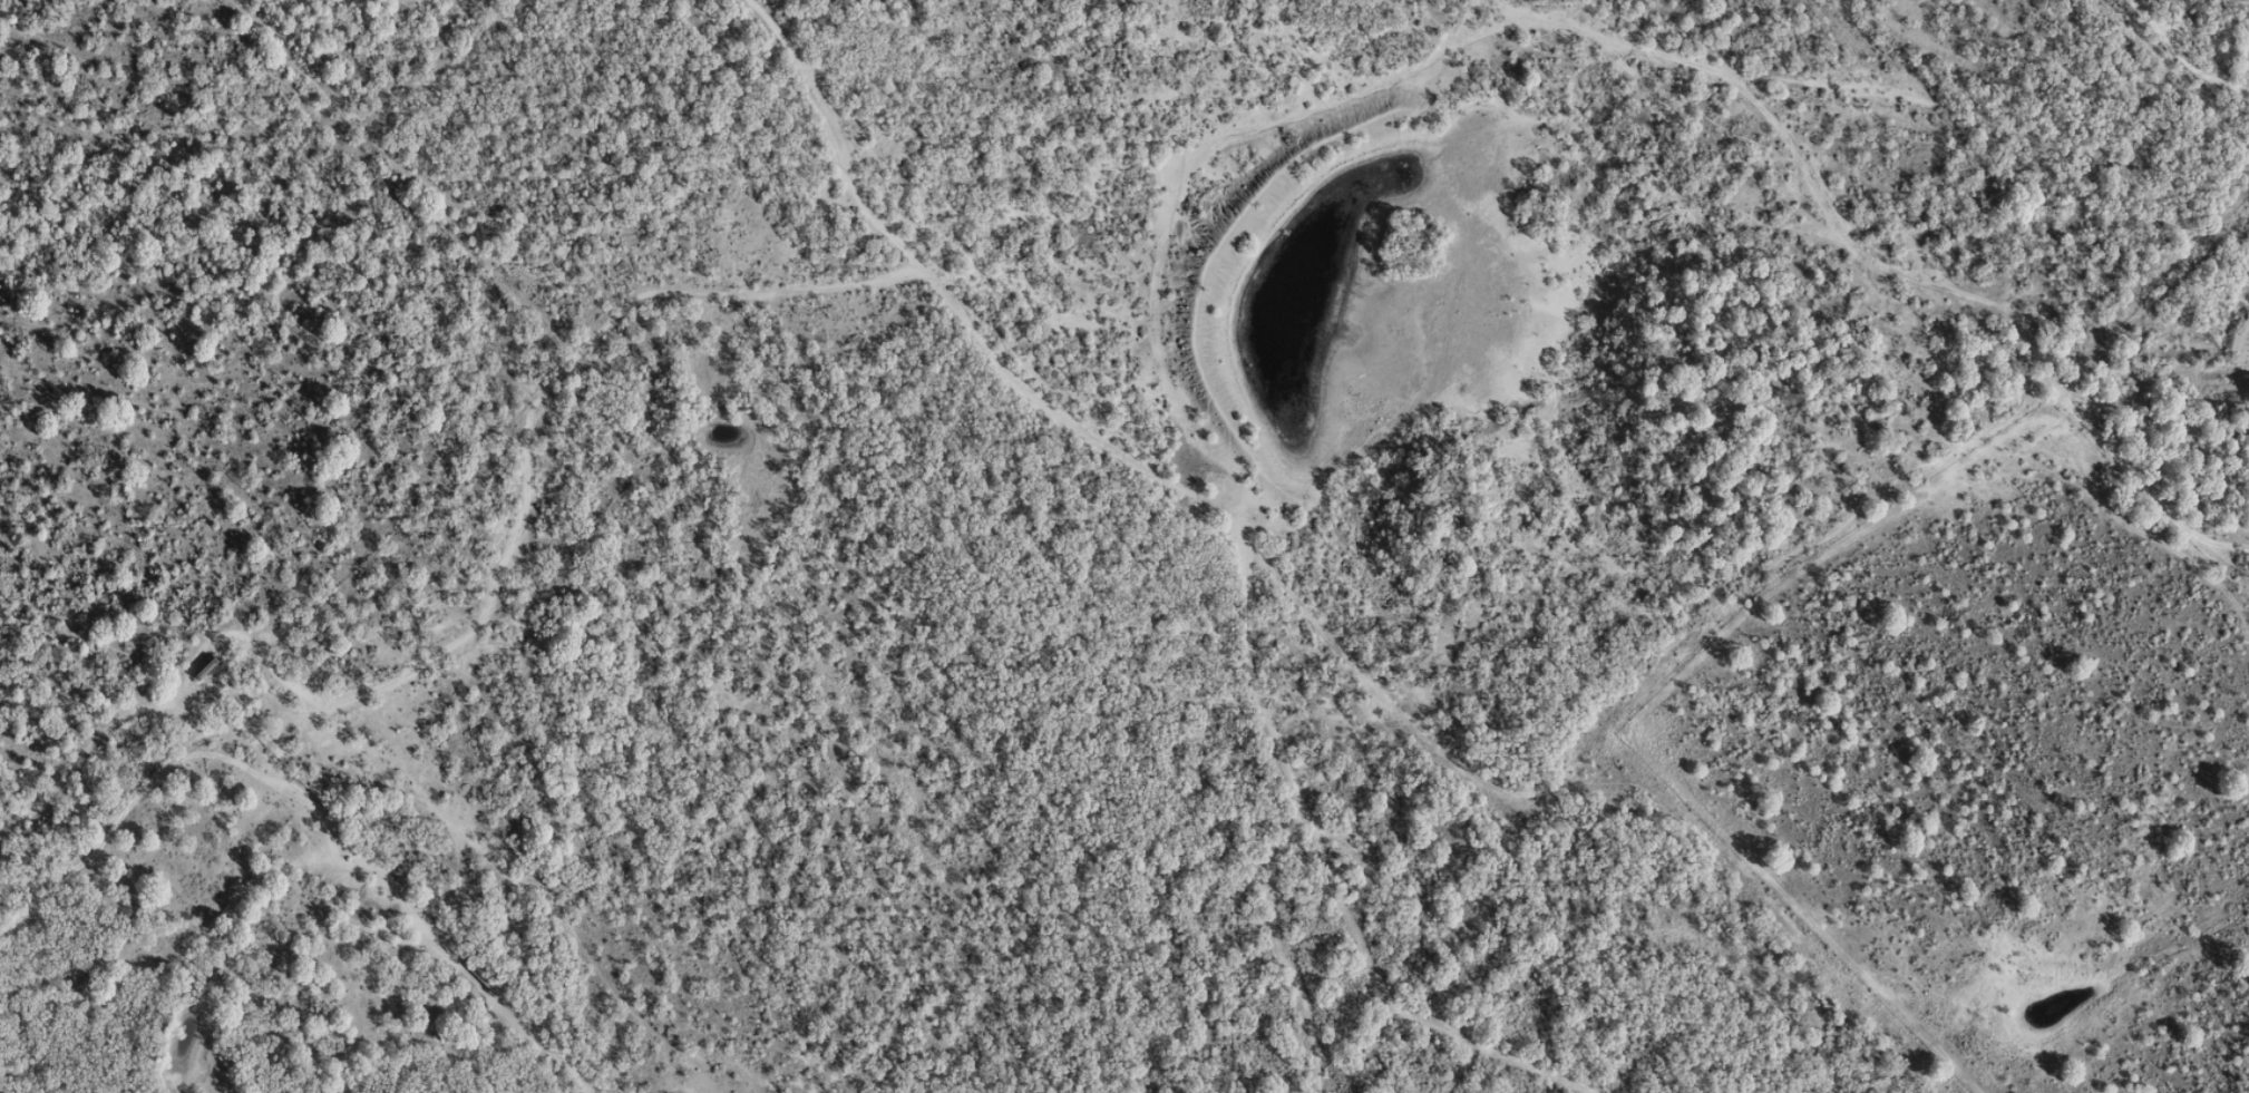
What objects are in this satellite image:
road: (884, 105)
road: (1257, 114)
road: (2025, 342)
road: (1258, 592)
building: (481, 978)

